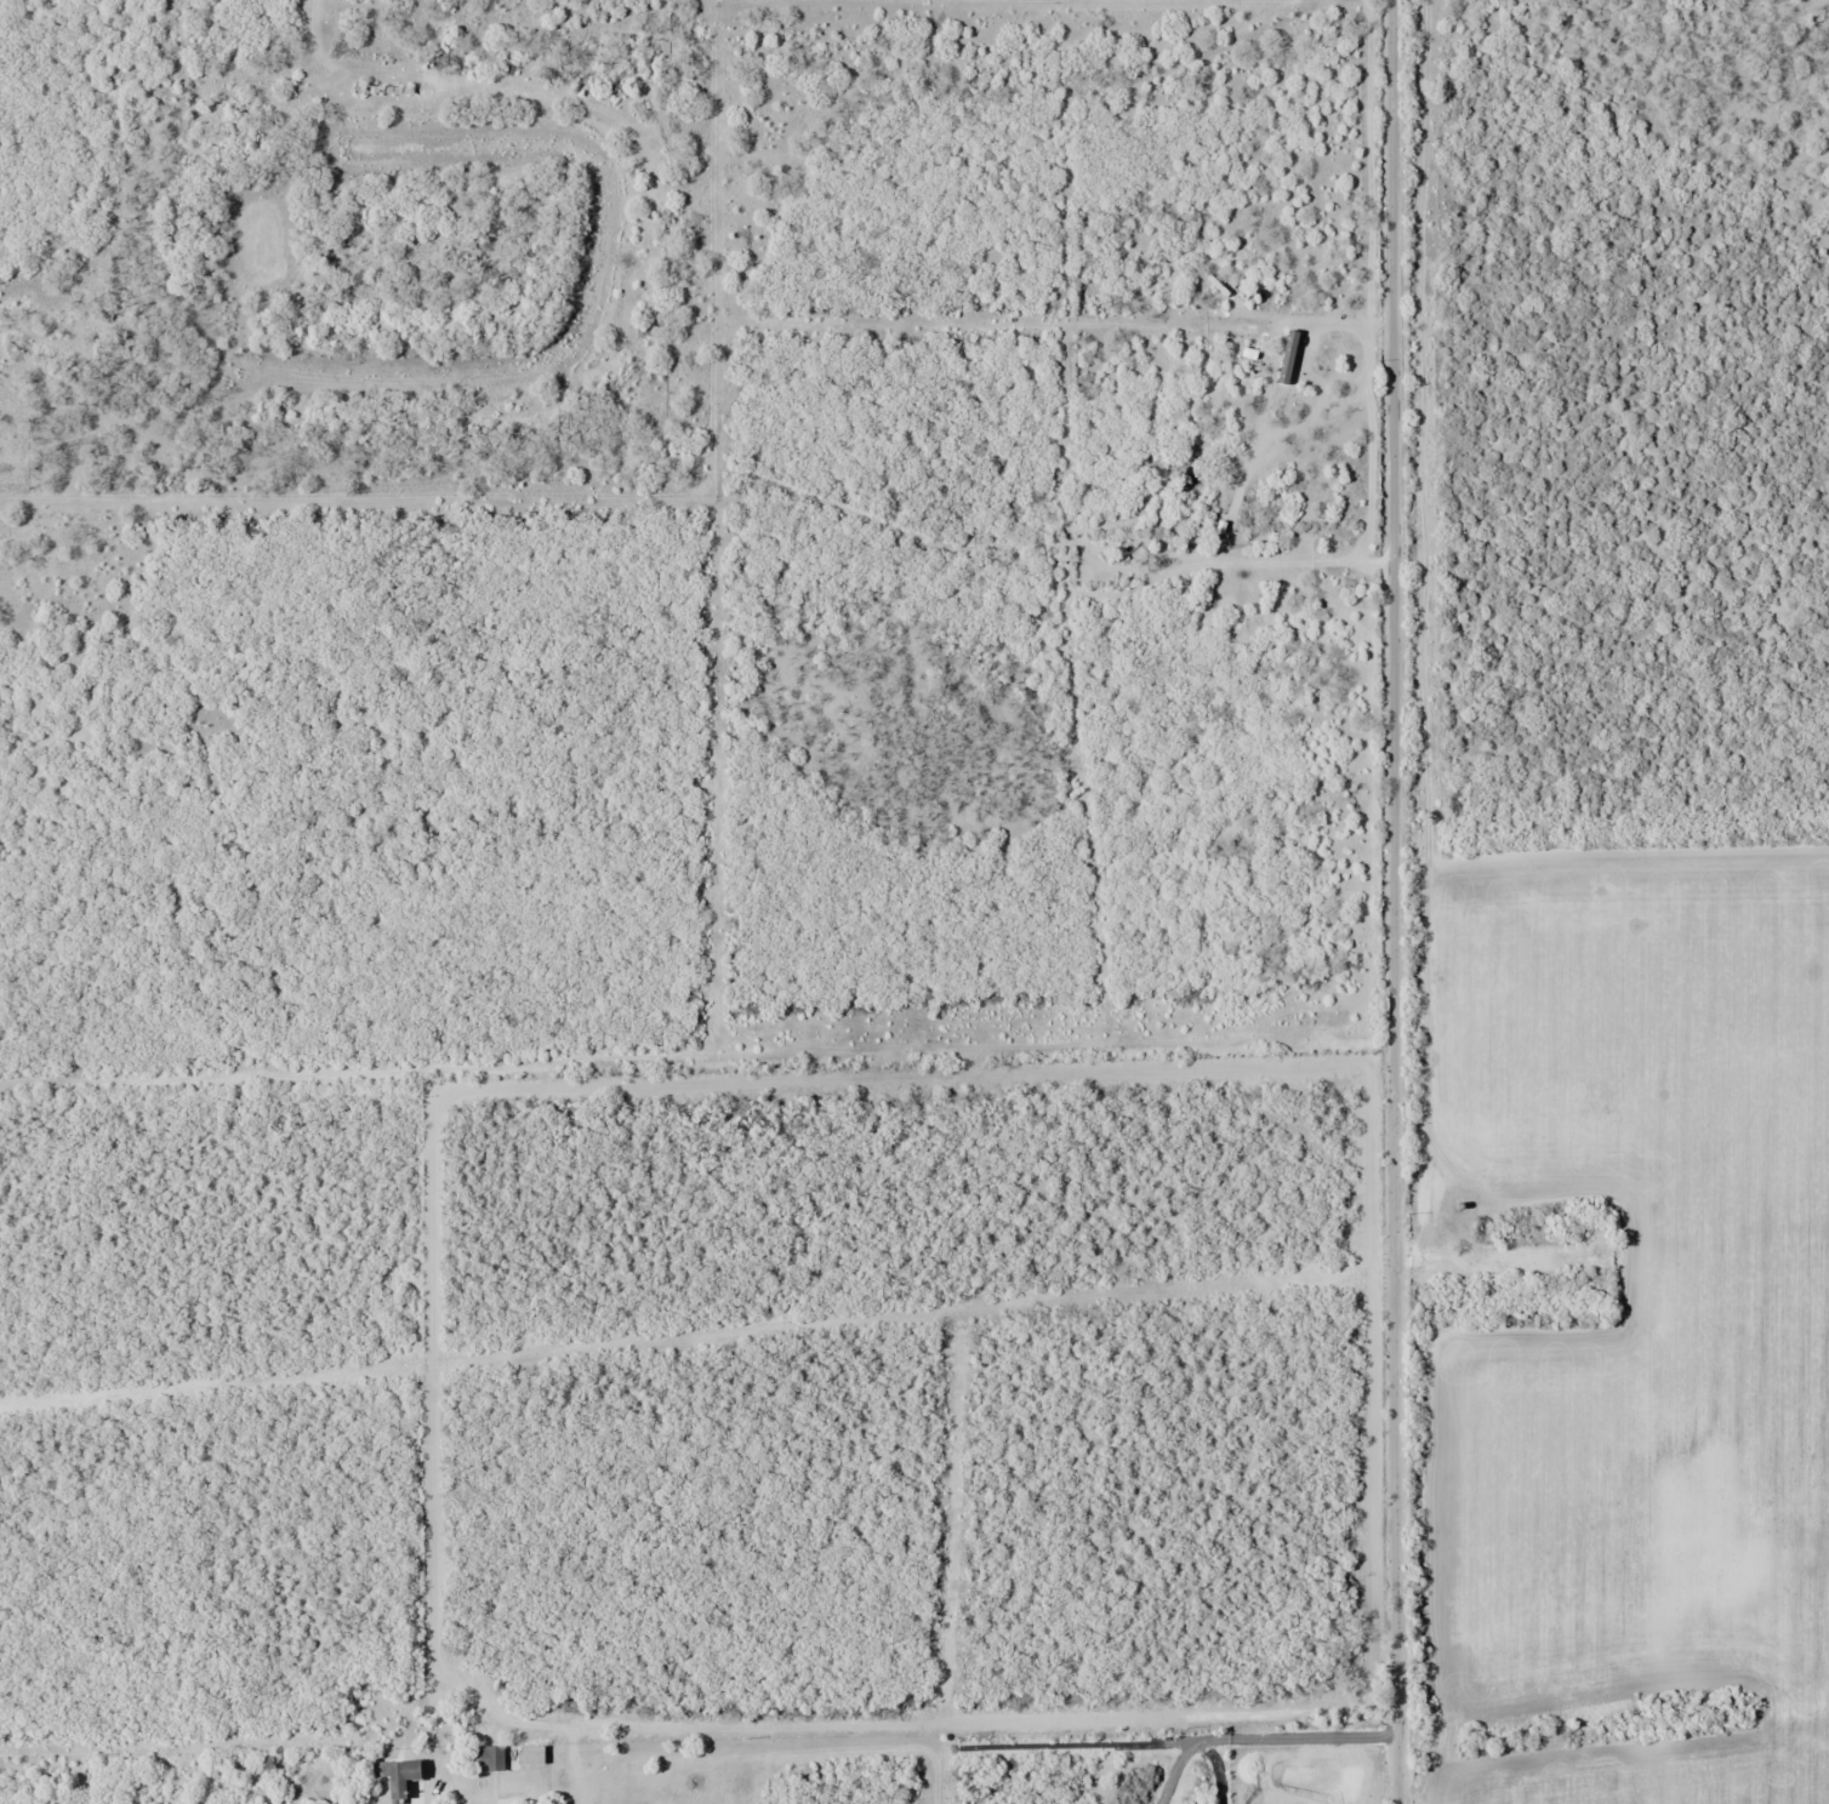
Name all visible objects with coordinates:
road: (1396, 901)
building: (506, 1757)
building: (398, 1777)

